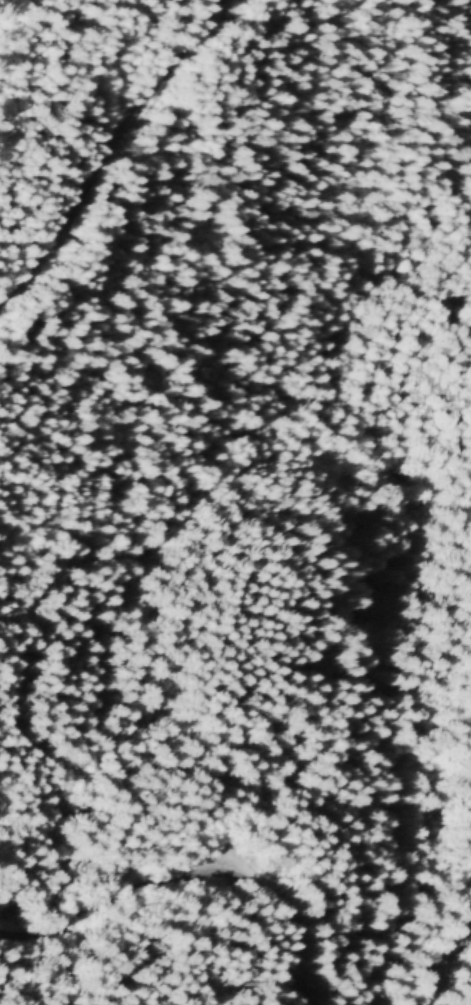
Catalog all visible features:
road: (112, 153)
road: (189, 872)
road: (450, 964)

